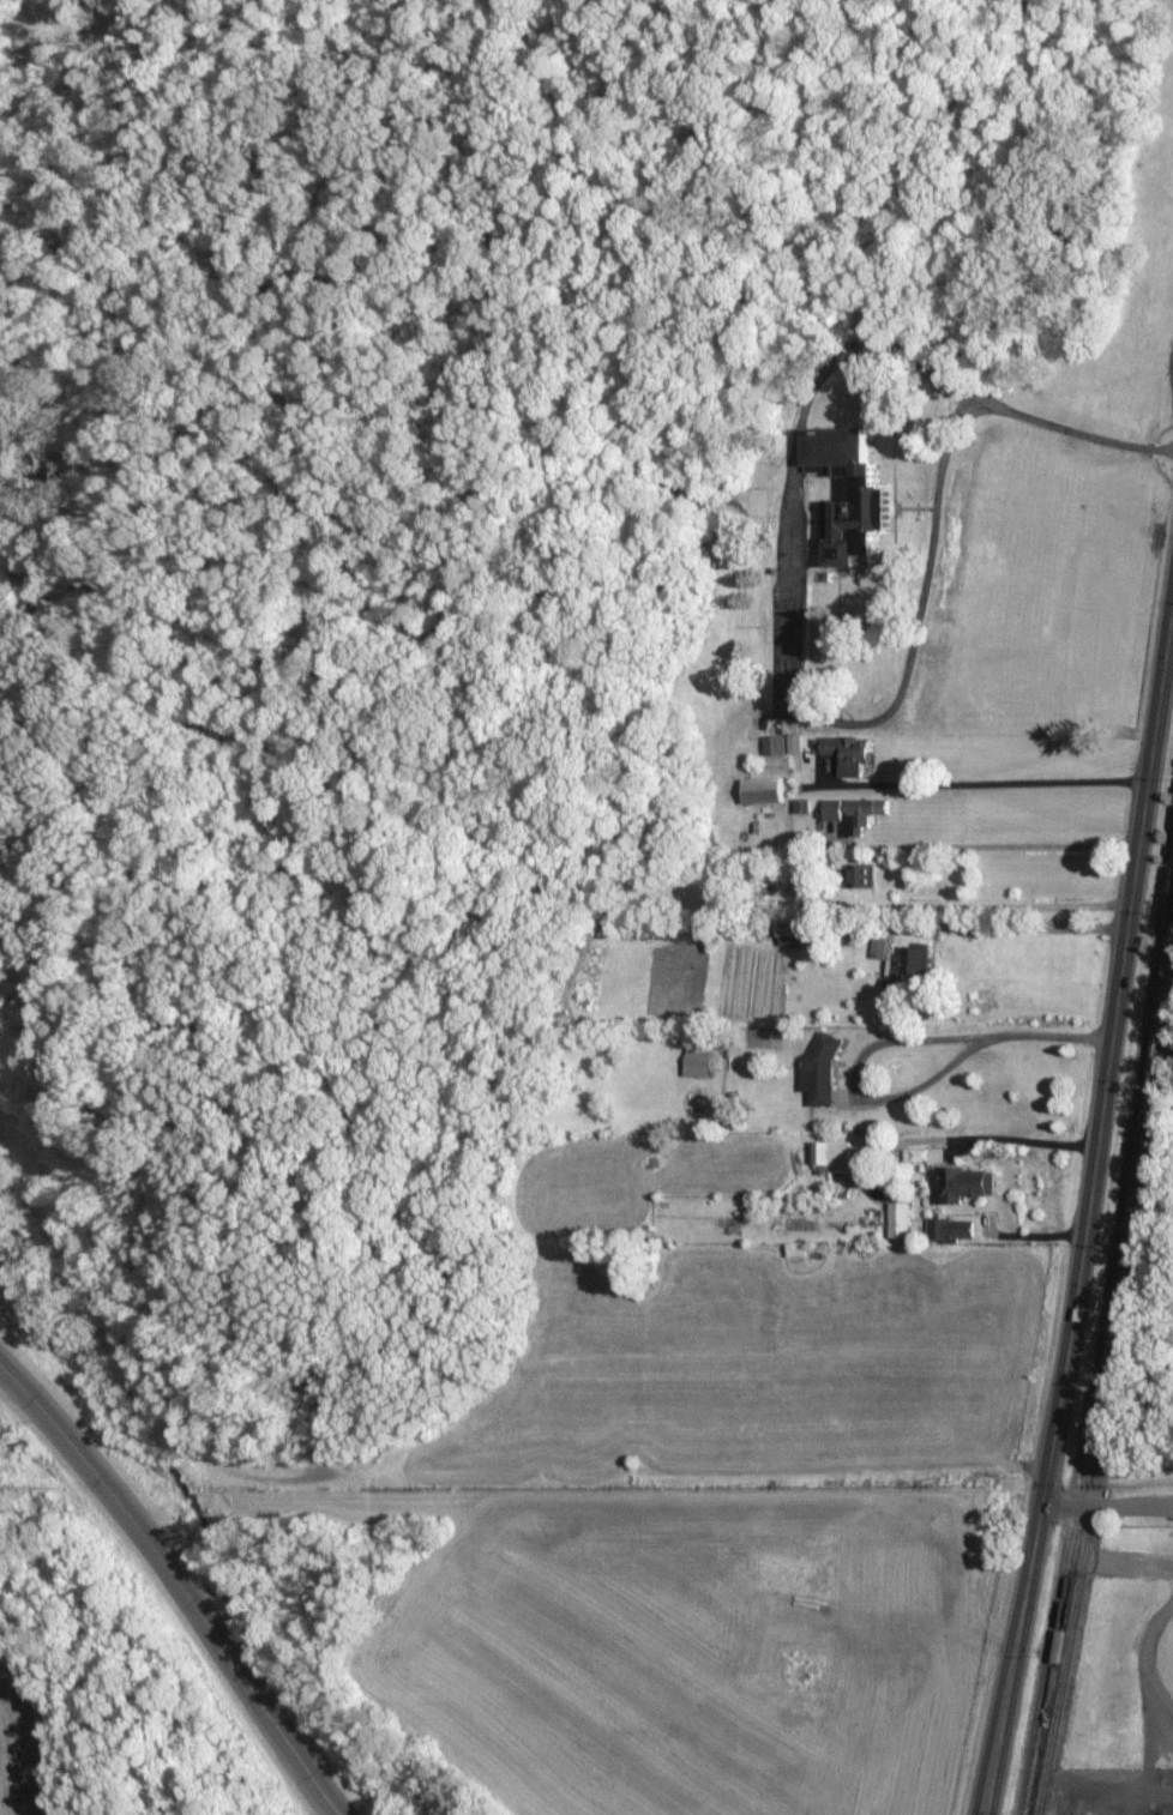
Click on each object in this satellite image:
road: (1076, 432)
building: (871, 493)
road: (783, 665)
building: (794, 743)
building: (774, 744)
building: (847, 753)
road: (980, 782)
building: (762, 790)
building: (832, 810)
building: (864, 813)
road: (1005, 845)
building: (862, 875)
road: (1017, 921)
building: (789, 934)
building: (903, 969)
road: (891, 1043)
building: (696, 1062)
building: (819, 1072)
building: (832, 1154)
building: (924, 1154)
building: (962, 1184)
road: (1088, 1207)
building: (898, 1220)
building: (949, 1230)
building: (795, 1249)
railway: (1094, 1316)
railway: (1101, 1363)
railway: (1109, 1406)
road: (1109, 1507)
road: (182, 1576)

